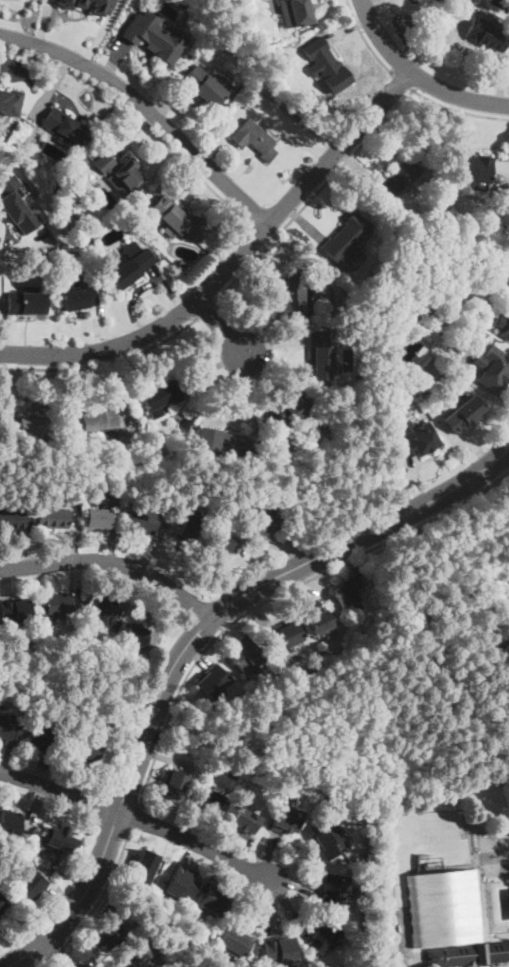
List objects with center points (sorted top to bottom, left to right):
building: (438, 1)
building: (95, 7)
building: (301, 12)
building: (487, 33)
building: (155, 38)
road: (382, 38)
road: (365, 39)
building: (328, 65)
road: (402, 81)
building: (207, 86)
road: (457, 96)
building: (11, 102)
road: (147, 108)
road: (459, 110)
road: (136, 117)
building: (65, 128)
building: (258, 139)
building: (11, 148)
building: (474, 171)
building: (121, 175)
building: (398, 179)
building: (59, 184)
road: (311, 195)
building: (17, 207)
building: (169, 215)
building: (345, 238)
building: (182, 262)
road: (232, 262)
building: (129, 265)
building: (424, 290)
building: (77, 297)
building: (295, 297)
building: (346, 298)
building: (27, 302)
building: (412, 307)
road: (204, 310)
building: (391, 323)
building: (504, 326)
road: (222, 328)
building: (394, 339)
building: (324, 355)
road: (103, 363)
building: (493, 368)
building: (162, 396)
building: (293, 411)
building: (463, 414)
building: (91, 424)
building: (26, 429)
building: (415, 439)
building: (230, 443)
building: (141, 476)
building: (72, 485)
road: (463, 502)
building: (11, 517)
building: (53, 518)
building: (100, 520)
building: (143, 520)
building: (265, 525)
building: (191, 526)
building: (226, 542)
road: (113, 561)
road: (414, 572)
building: (349, 592)
building: (58, 603)
building: (100, 606)
building: (17, 612)
building: (321, 621)
road: (230, 623)
road: (425, 623)
building: (137, 635)
building: (283, 636)
road: (188, 644)
building: (245, 655)
building: (215, 681)
road: (467, 713)
building: (8, 730)
building: (41, 739)
park: (442, 746)
building: (87, 751)
building: (174, 784)
building: (284, 788)
road: (59, 790)
building: (214, 802)
road: (134, 817)
building: (287, 819)
building: (246, 820)
building: (11, 822)
building: (59, 840)
building: (330, 841)
road: (194, 842)
building: (144, 869)
building: (182, 883)
building: (31, 887)
road: (102, 890)
building: (334, 890)
building: (353, 891)
building: (214, 903)
building: (2, 904)
building: (444, 904)
building: (110, 936)
building: (326, 936)
building: (237, 941)
building: (280, 951)
road: (54, 952)
road: (55, 953)
building: (468, 954)
building: (143, 955)
road: (41, 964)
road: (508, 966)

